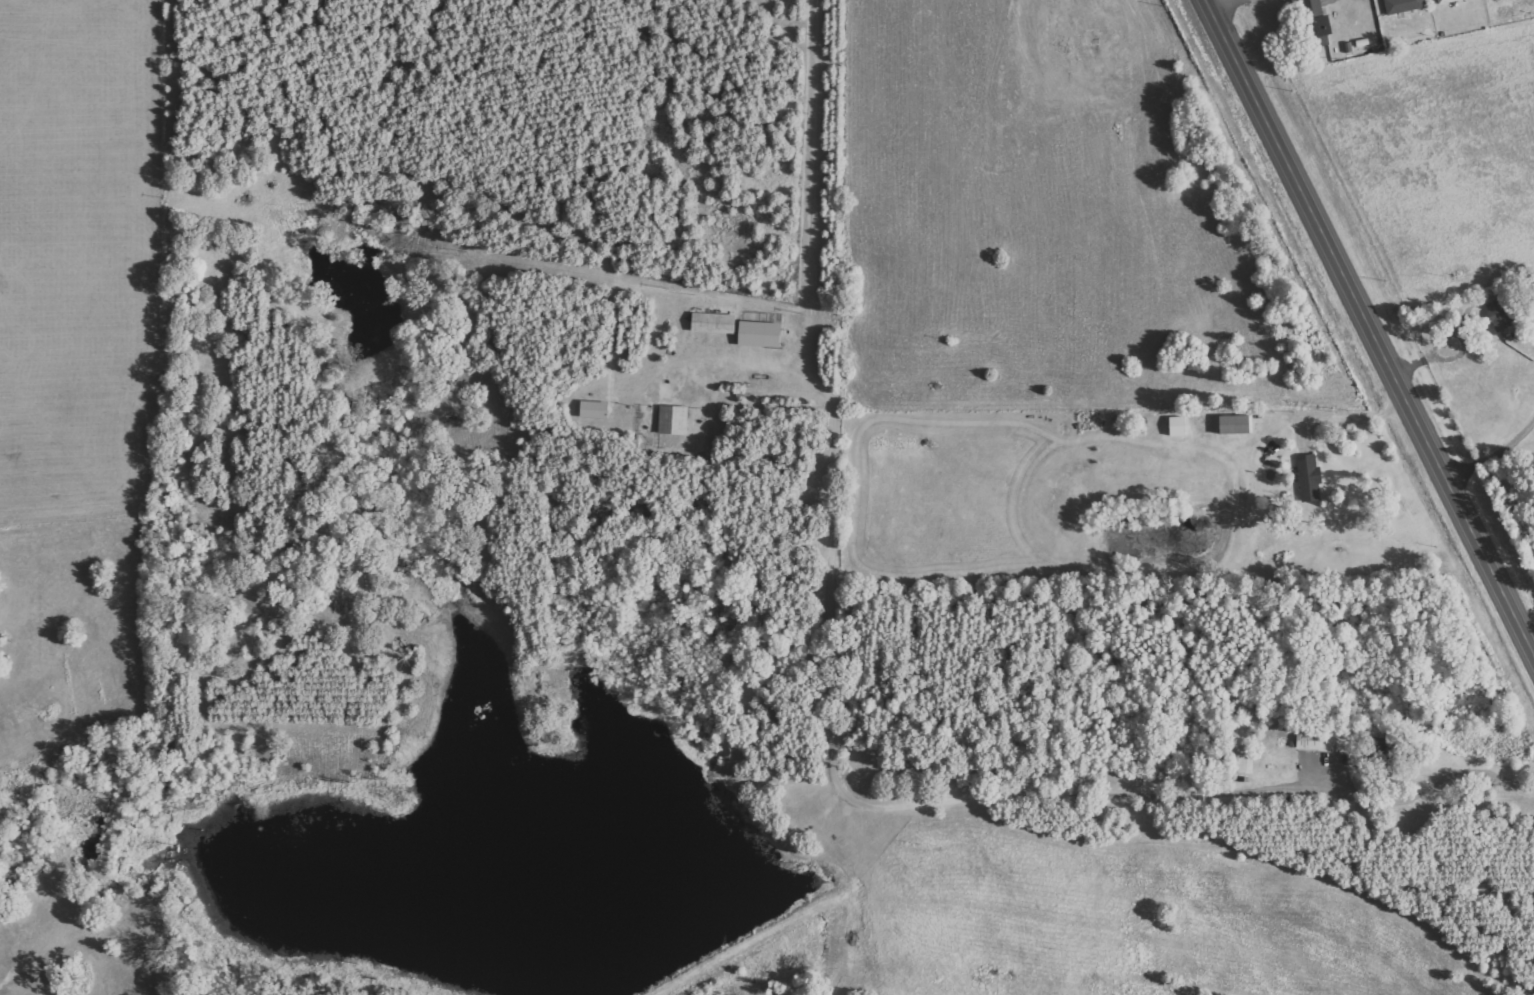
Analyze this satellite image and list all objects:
road: (1214, 1)
building: (1448, 1)
building: (1405, 5)
building: (1319, 22)
building: (1501, 315)
building: (716, 323)
road: (1370, 327)
building: (762, 334)
building: (595, 410)
building: (675, 420)
building: (1237, 425)
building: (1310, 478)
building: (1310, 741)

